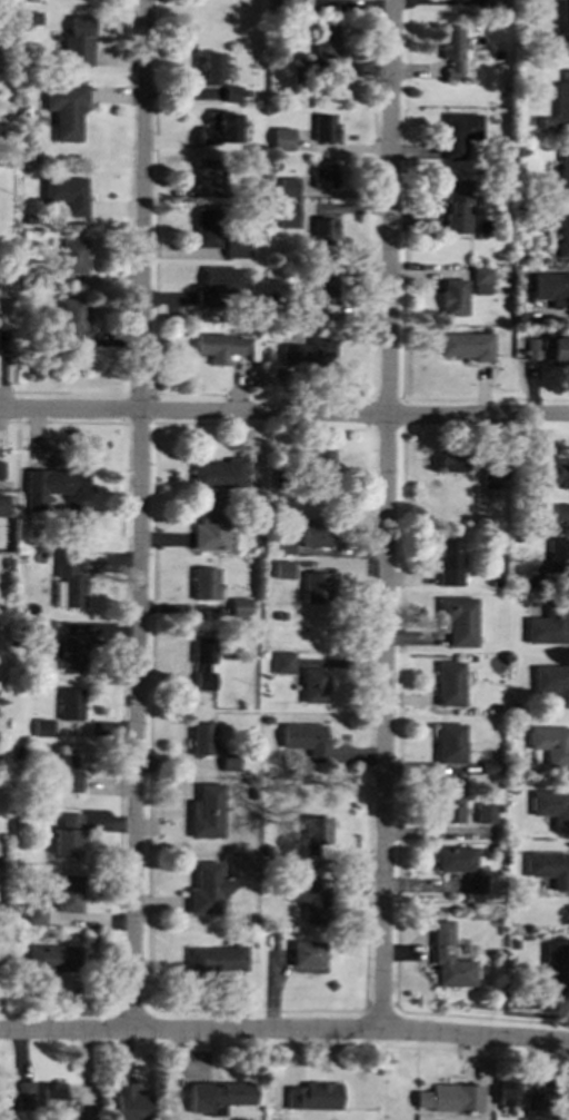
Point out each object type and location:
building: (491, 2)
building: (565, 19)
building: (78, 41)
building: (325, 41)
building: (452, 49)
building: (210, 68)
building: (300, 70)
building: (231, 92)
building: (558, 105)
building: (66, 109)
building: (323, 128)
building: (219, 130)
building: (459, 133)
building: (281, 138)
building: (562, 171)
building: (210, 175)
building: (322, 175)
building: (288, 186)
building: (66, 194)
building: (456, 205)
building: (287, 215)
building: (206, 227)
building: (323, 230)
building: (562, 235)
building: (234, 247)
building: (72, 256)
building: (480, 279)
building: (214, 284)
building: (322, 286)
building: (551, 288)
building: (452, 297)
building: (71, 314)
building: (3, 343)
building: (466, 345)
building: (218, 346)
building: (548, 348)
building: (307, 351)
road: (283, 414)
building: (453, 464)
building: (321, 467)
building: (0, 468)
building: (218, 473)
building: (490, 474)
building: (558, 477)
building: (57, 488)
building: (2, 505)
building: (560, 513)
road: (139, 515)
road: (387, 515)
building: (209, 525)
building: (316, 533)
building: (449, 562)
building: (281, 568)
building: (70, 583)
building: (203, 583)
building: (318, 586)
building: (239, 607)
building: (458, 620)
building: (548, 625)
building: (42, 628)
building: (71, 652)
building: (282, 662)
building: (201, 663)
building: (552, 682)
building: (448, 683)
building: (313, 685)
building: (70, 703)
building: (42, 727)
building: (201, 739)
building: (306, 739)
building: (448, 743)
building: (550, 743)
building: (228, 761)
building: (487, 766)
building: (64, 773)
building: (450, 807)
building: (207, 812)
building: (485, 813)
building: (67, 834)
building: (455, 859)
building: (548, 868)
building: (473, 883)
building: (208, 889)
building: (69, 893)
building: (308, 896)
building: (36, 914)
building: (306, 953)
building: (53, 958)
building: (216, 959)
building: (448, 959)
building: (553, 969)
road: (284, 1031)
building: (507, 1094)
building: (22, 1096)
building: (51, 1096)
building: (218, 1096)
building: (312, 1096)
building: (450, 1098)
building: (4, 1100)
building: (130, 1102)
building: (537, 1103)

